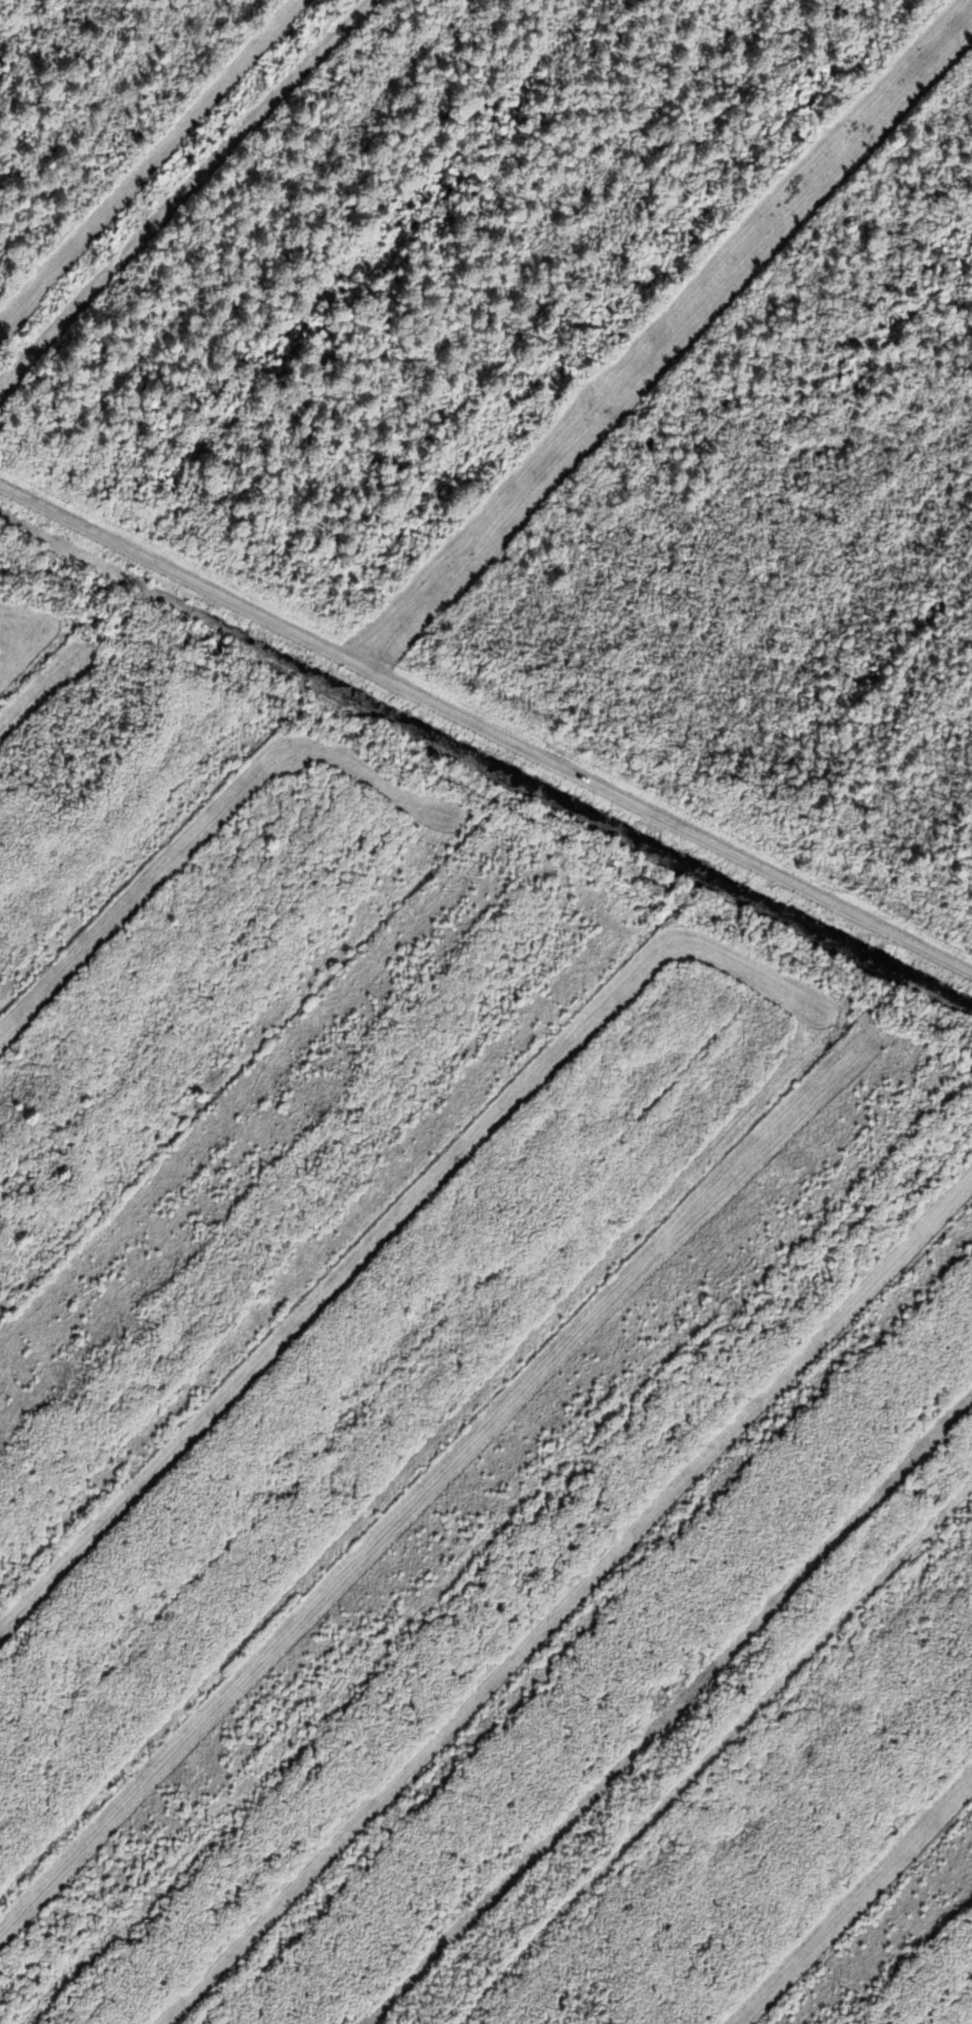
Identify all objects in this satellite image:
road: (486, 732)

